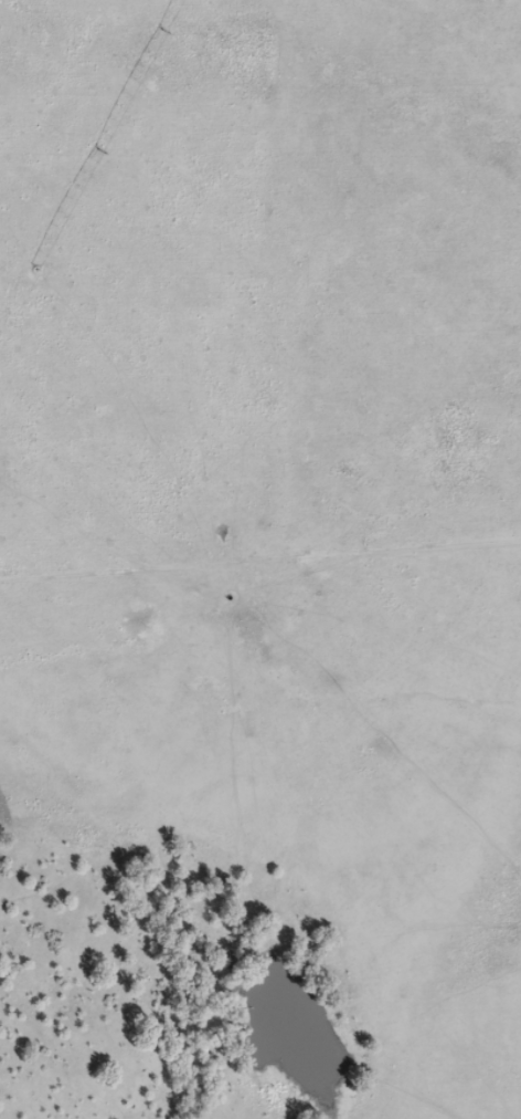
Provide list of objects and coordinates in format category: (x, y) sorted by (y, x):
road: (270, 653)

